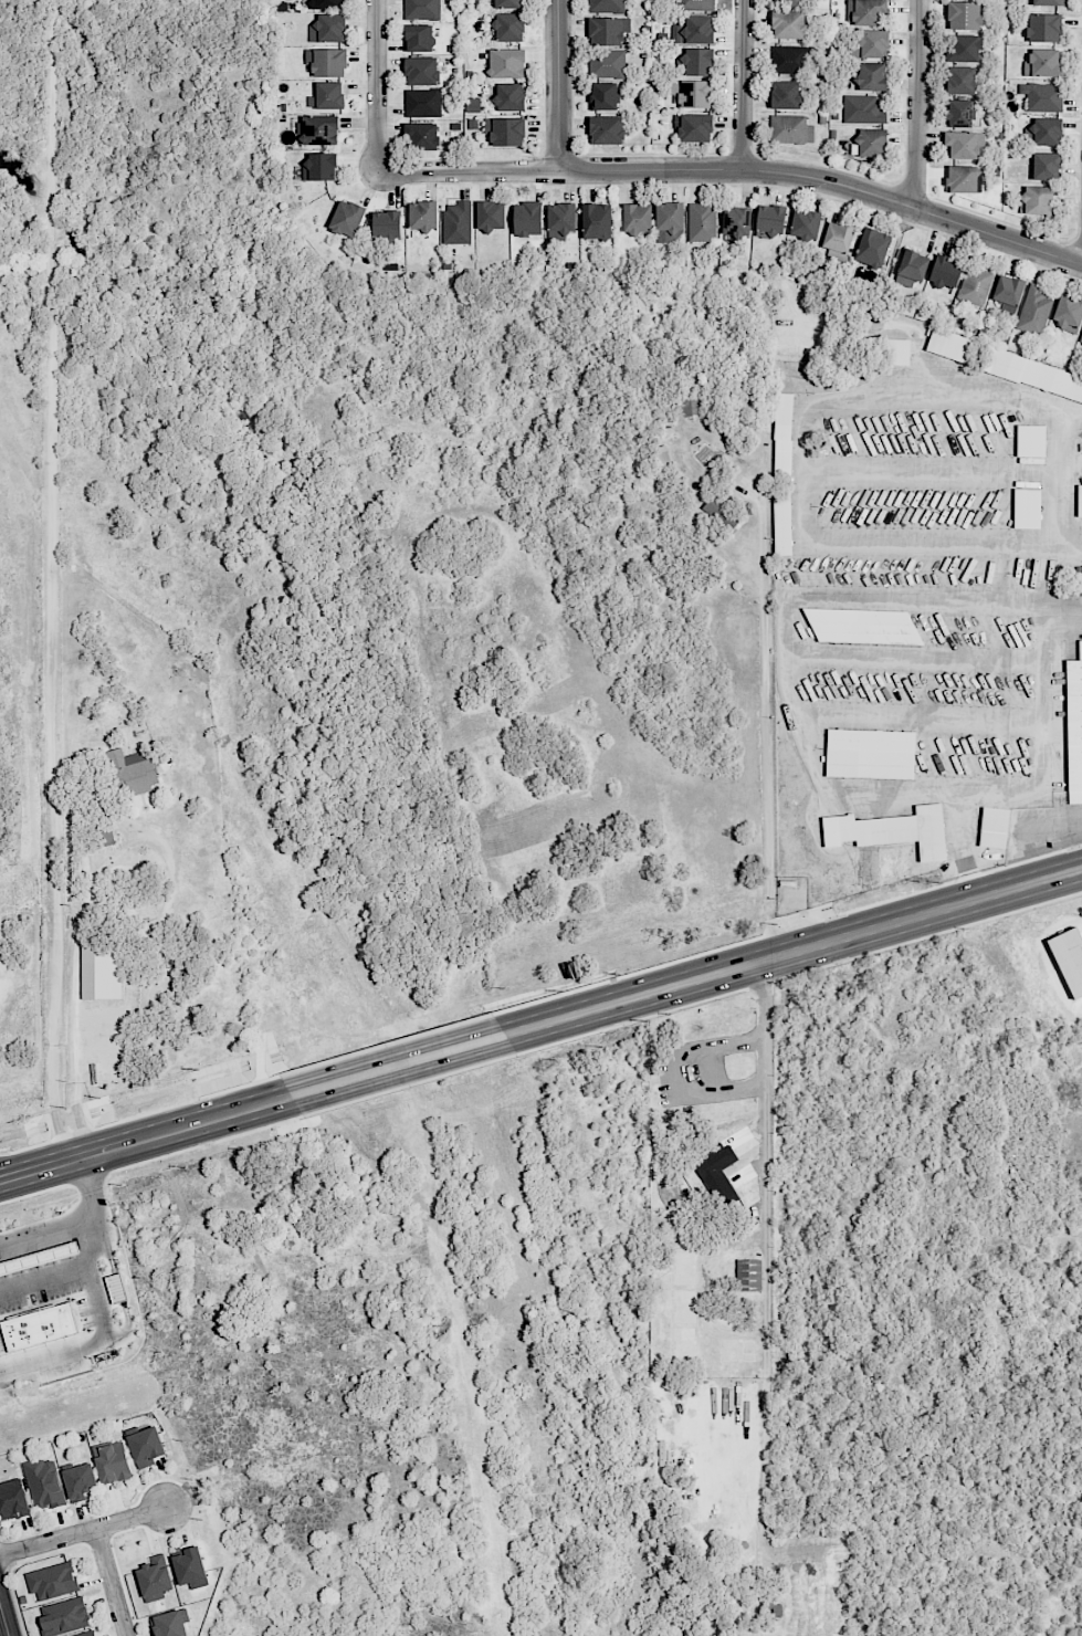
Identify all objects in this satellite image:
building: (786, 1)
building: (1047, 2)
building: (507, 3)
building: (328, 4)
building: (698, 4)
building: (606, 6)
building: (422, 9)
building: (865, 12)
building: (964, 15)
building: (789, 24)
building: (510, 27)
building: (1043, 28)
building: (328, 29)
building: (696, 29)
building: (607, 30)
building: (419, 38)
building: (873, 43)
building: (963, 49)
building: (791, 60)
building: (327, 62)
building: (697, 62)
building: (506, 63)
building: (608, 63)
building: (1046, 63)
building: (421, 71)
building: (871, 76)
building: (960, 81)
road: (556, 85)
road: (744, 85)
road: (376, 86)
building: (692, 93)
building: (327, 95)
building: (785, 95)
building: (510, 96)
building: (602, 96)
building: (1042, 96)
building: (422, 102)
building: (473, 105)
road: (917, 105)
building: (864, 108)
building: (959, 113)
building: (695, 127)
building: (318, 129)
building: (607, 129)
building: (791, 129)
building: (506, 132)
building: (1046, 132)
building: (422, 135)
building: (872, 143)
building: (962, 144)
building: (1047, 166)
building: (319, 167)
road: (736, 170)
building: (962, 179)
building: (1037, 200)
building: (423, 214)
building: (491, 214)
building: (347, 218)
building: (637, 218)
building: (527, 219)
building: (770, 219)
building: (560, 220)
building: (596, 221)
building: (736, 221)
building: (456, 222)
building: (670, 222)
building: (702, 222)
building: (387, 224)
building: (806, 224)
building: (837, 240)
building: (873, 248)
building: (911, 269)
building: (945, 272)
building: (975, 285)
building: (1008, 290)
building: (1033, 311)
building: (1068, 313)
building: (1080, 338)
building: (950, 345)
building: (897, 352)
building: (1032, 375)
building: (691, 406)
building: (784, 436)
building: (1029, 440)
road: (799, 470)
road: (1063, 479)
building: (1080, 500)
building: (714, 506)
building: (1026, 508)
building: (782, 523)
road: (53, 580)
road: (936, 601)
building: (862, 626)
road: (1046, 704)
road: (766, 706)
building: (1074, 727)
building: (871, 754)
building: (130, 772)
road: (824, 789)
building: (995, 827)
road: (1054, 829)
building: (891, 831)
road: (1027, 839)
road: (964, 847)
road: (786, 929)
road: (794, 953)
building: (1069, 957)
building: (95, 972)
road: (798, 973)
road: (74, 1007)
road: (385, 1045)
road: (398, 1066)
road: (409, 1084)
road: (138, 1115)
road: (146, 1139)
road: (151, 1158)
building: (714, 1162)
road: (99, 1214)
road: (50, 1228)
road: (765, 1255)
building: (748, 1275)
road: (43, 1278)
building: (117, 1288)
building: (48, 1321)
road: (92, 1346)
building: (146, 1446)
building: (113, 1461)
building: (80, 1481)
building: (44, 1482)
building: (13, 1500)
road: (83, 1532)
building: (189, 1566)
building: (155, 1579)
building: (52, 1581)
road: (111, 1582)
building: (65, 1616)
road: (3, 1622)
building: (169, 1624)
building: (85, 1634)

